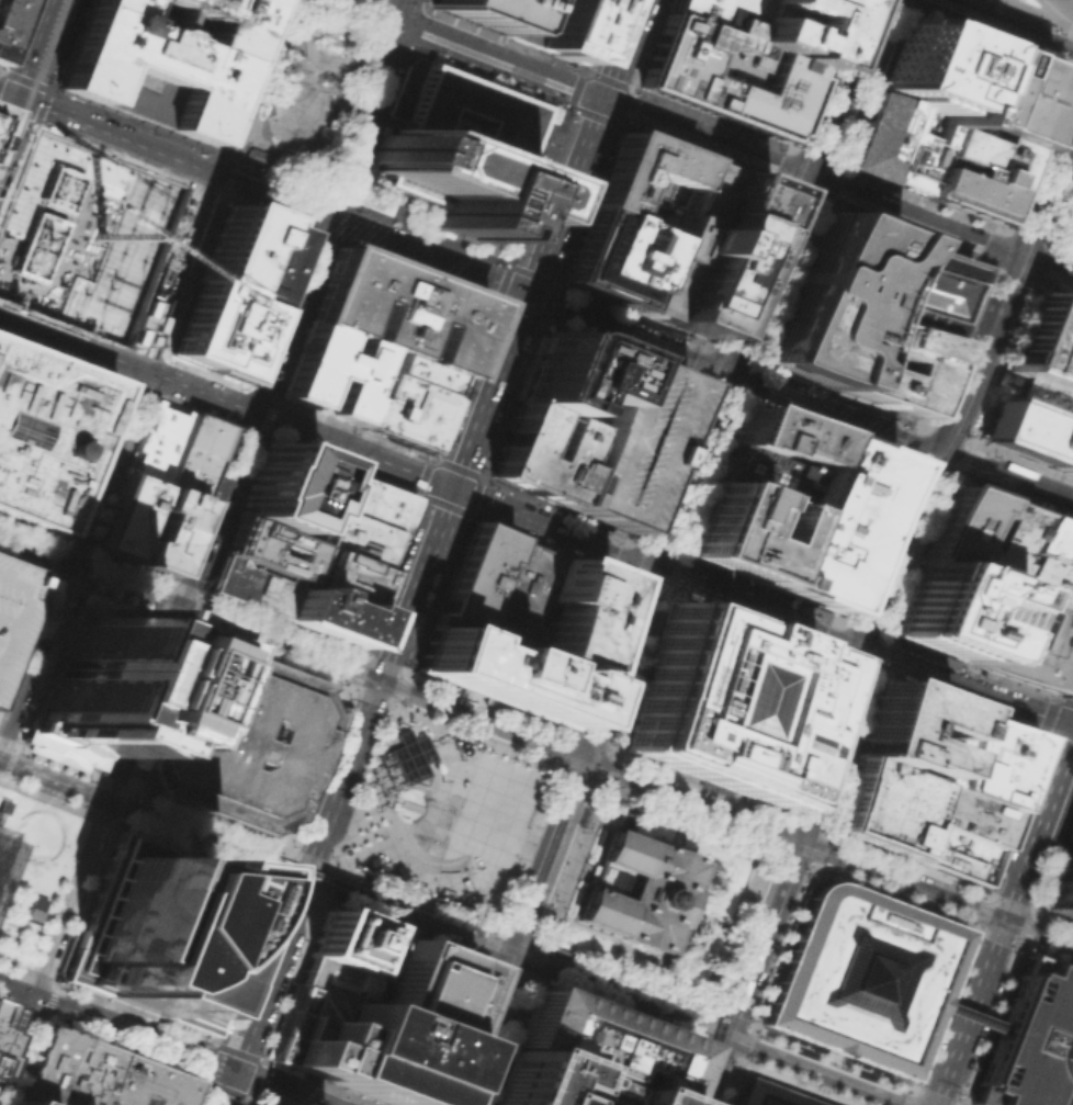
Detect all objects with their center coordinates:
road: (297, 1)
road: (894, 3)
building: (1062, 7)
building: (478, 11)
building: (714, 14)
road: (1032, 15)
road: (1055, 15)
road: (65, 16)
building: (7, 19)
building: (552, 24)
road: (992, 24)
road: (385, 26)
building: (792, 29)
road: (423, 31)
road: (65, 44)
road: (308, 44)
road: (405, 44)
building: (292, 45)
road: (36, 48)
road: (1065, 50)
road: (1064, 52)
building: (159, 59)
road: (334, 59)
road: (286, 68)
road: (12, 75)
road: (411, 75)
building: (724, 77)
road: (554, 80)
road: (267, 81)
railway: (32, 87)
road: (833, 87)
road: (44, 88)
road: (628, 89)
building: (920, 95)
building: (1001, 95)
traffic signals: (19, 98)
traffic signals: (602, 99)
park: (308, 100)
road: (319, 102)
fountain: (416, 106)
road: (340, 108)
road: (305, 114)
road: (351, 114)
road: (36, 116)
road: (15, 120)
road: (9, 123)
road: (253, 131)
road: (109, 132)
building: (876, 135)
road: (703, 137)
road: (555, 145)
road: (583, 146)
building: (460, 149)
road: (318, 155)
building: (257, 156)
road: (230, 158)
road: (16, 170)
road: (234, 170)
building: (972, 171)
traffic signals: (800, 174)
building: (643, 181)
road: (773, 190)
road: (326, 195)
road: (317, 202)
road: (939, 227)
road: (373, 233)
parking lot: (1066, 234)
road: (1024, 236)
building: (229, 247)
building: (704, 248)
building: (613, 257)
traffic signals: (1026, 260)
building: (268, 261)
road: (763, 271)
road: (314, 273)
building: (927, 290)
traffic signals: (528, 293)
road: (1013, 293)
building: (837, 298)
road: (494, 301)
road: (565, 306)
building: (397, 309)
road: (411, 311)
building: (201, 323)
building: (239, 337)
building: (1046, 342)
road: (663, 345)
road: (763, 361)
building: (899, 365)
road: (481, 368)
traffic signals: (725, 368)
building: (331, 371)
road: (140, 373)
building: (567, 376)
fountain: (1015, 377)
road: (487, 398)
road: (226, 399)
building: (407, 399)
road: (255, 401)
road: (838, 410)
building: (1031, 420)
building: (45, 432)
building: (783, 436)
building: (155, 441)
building: (629, 443)
parking lot: (629, 443)
road: (670, 447)
road: (919, 449)
building: (539, 452)
road: (647, 453)
building: (193, 454)
traffic signals: (952, 454)
building: (1066, 455)
road: (668, 456)
road: (687, 465)
road: (662, 472)
building: (768, 475)
road: (1012, 477)
traffic signals: (453, 488)
building: (285, 491)
road: (1017, 499)
building: (368, 500)
road: (464, 510)
road: (466, 512)
building: (125, 517)
building: (839, 522)
building: (968, 529)
building: (165, 531)
building: (747, 531)
road: (920, 535)
building: (353, 539)
building: (1052, 541)
building: (1005, 543)
road: (35, 544)
building: (264, 548)
railway: (662, 550)
road: (927, 561)
road: (23, 563)
railway: (37, 563)
traffic signals: (651, 564)
road: (684, 573)
building: (477, 574)
road: (420, 575)
building: (339, 576)
road: (59, 578)
building: (1044, 580)
road: (76, 583)
building: (250, 586)
building: (526, 593)
road: (675, 595)
building: (12, 605)
parking lot: (12, 605)
road: (763, 606)
railway: (886, 606)
building: (578, 612)
building: (958, 612)
building: (325, 613)
road: (174, 622)
road: (247, 625)
road: (23, 631)
road: (189, 631)
building: (1031, 641)
traffic signals: (878, 650)
road: (615, 659)
road: (866, 662)
road: (396, 669)
road: (883, 669)
building: (501, 672)
road: (1001, 677)
traffic signals: (382, 678)
building: (86, 679)
road: (381, 680)
road: (398, 688)
road: (361, 694)
road: (396, 696)
railway: (409, 702)
building: (726, 702)
road: (449, 704)
road: (1051, 722)
road: (847, 730)
building: (912, 730)
road: (415, 731)
road: (571, 735)
road: (532, 736)
building: (236, 737)
road: (476, 738)
road: (463, 742)
road: (1, 743)
road: (592, 743)
railway: (535, 747)
road: (352, 754)
road: (567, 754)
traffic signals: (580, 755)
building: (404, 756)
building: (986, 758)
road: (3, 764)
road: (602, 767)
road: (94, 777)
road: (578, 778)
road: (382, 779)
road: (0, 780)
road: (48, 781)
road: (361, 787)
flagpole: (398, 787)
road: (463, 790)
fountain: (413, 792)
railway: (600, 792)
flagpole: (385, 793)
road: (43, 794)
road: (443, 796)
road: (124, 798)
building: (394, 799)
road: (427, 799)
road: (98, 800)
building: (3, 805)
road: (112, 805)
building: (883, 805)
flagpole: (388, 809)
road: (1060, 810)
road: (11, 811)
road: (386, 813)
fountain: (404, 814)
road: (117, 815)
building: (965, 815)
road: (328, 816)
road: (101, 818)
road: (685, 818)
road: (116, 822)
road: (454, 822)
road: (449, 823)
road: (465, 825)
road: (804, 825)
road: (1039, 828)
road: (384, 832)
road: (778, 832)
fountain: (35, 835)
road: (202, 839)
traffic signals: (804, 842)
road: (816, 847)
road: (529, 852)
road: (832, 852)
building: (950, 853)
road: (358, 855)
road: (543, 856)
road: (791, 856)
road: (418, 858)
road: (309, 860)
road: (27, 865)
road: (43, 865)
road: (565, 866)
road: (33, 868)
road: (815, 872)
road: (303, 878)
road: (305, 878)
traffic signals: (305, 879)
railway: (341, 880)
road: (1043, 880)
road: (453, 883)
building: (465, 883)
building: (1062, 884)
parking lot: (1062, 884)
road: (10, 888)
road: (34, 888)
building: (635, 889)
road: (417, 890)
road: (298, 891)
road: (427, 893)
road: (891, 894)
road: (53, 900)
road: (414, 901)
road: (335, 904)
road: (369, 904)
building: (34, 909)
road: (1029, 910)
road: (461, 914)
traffic signals: (1006, 917)
road: (21, 923)
building: (554, 925)
road: (287, 926)
road: (975, 927)
railway: (460, 928)
road: (969, 928)
road: (741, 931)
building: (161, 932)
road: (442, 932)
road: (516, 939)
park: (9, 940)
road: (53, 940)
building: (338, 943)
road: (780, 944)
road: (481, 946)
road: (493, 947)
road: (1023, 948)
building: (560, 949)
traffic signals: (507, 957)
road: (509, 957)
road: (528, 961)
road: (505, 968)
road: (18, 973)
building: (353, 973)
road: (755, 973)
building: (861, 977)
road: (621, 979)
building: (421, 989)
road: (614, 997)
road: (576, 999)
railway: (705, 999)
road: (998, 999)
road: (79, 1000)
road: (941, 1007)
road: (970, 1011)
building: (1, 1012)
road: (8, 1015)
road: (41, 1015)
road: (727, 1018)
road: (252, 1021)
road: (752, 1024)
road: (116, 1027)
road: (477, 1030)
road: (88, 1036)
road: (721, 1039)
road: (743, 1041)
building: (1030, 1041)
traffic signals: (728, 1042)
building: (598, 1044)
road: (699, 1046)
road: (235, 1048)
building: (352, 1048)
road: (207, 1060)
road: (828, 1061)
building: (46, 1065)
traffic signals: (234, 1072)
road: (776, 1073)
building: (86, 1074)
road: (816, 1075)
road: (255, 1079)
building: (142, 1084)
building: (553, 1084)
road: (912, 1085)
road: (276, 1087)
road: (223, 1089)
road: (917, 1091)
building: (771, 1094)
building: (18, 1102)
road: (946, 1102)
building: (253, 1104)

